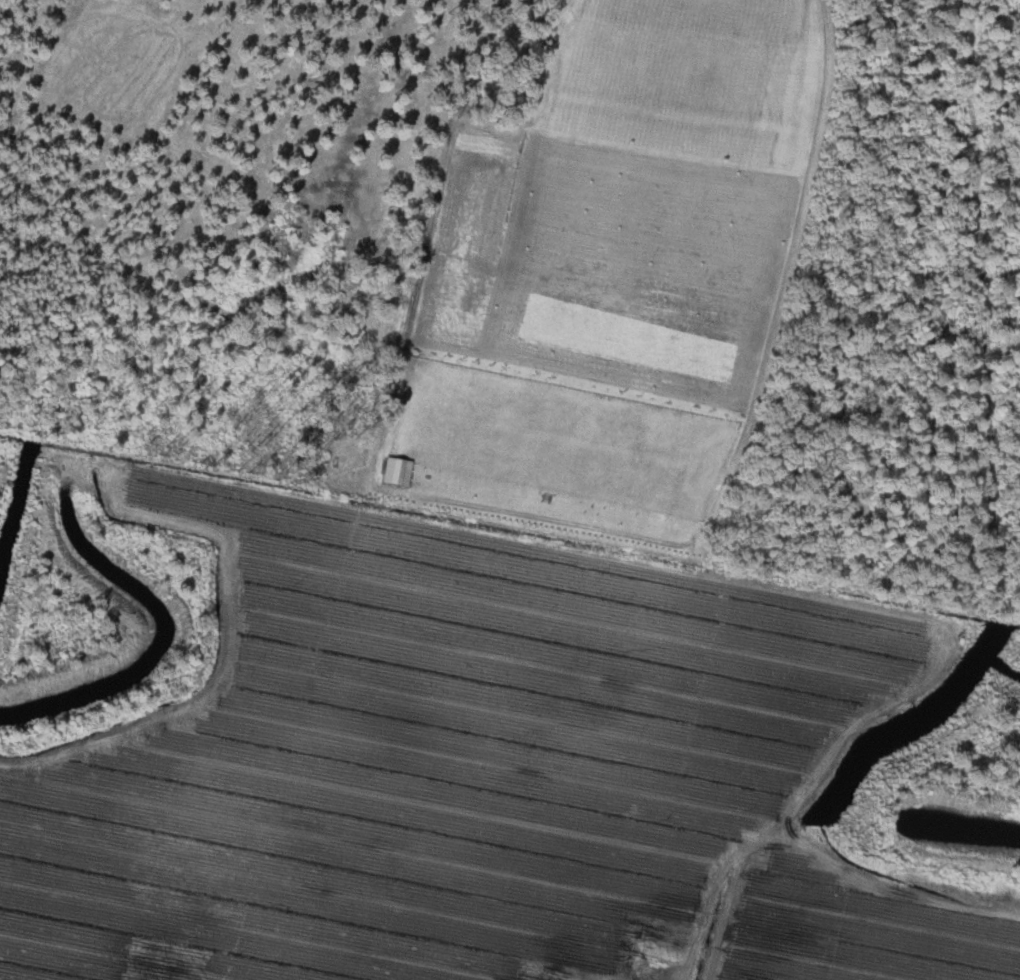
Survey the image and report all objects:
building: (400, 469)

